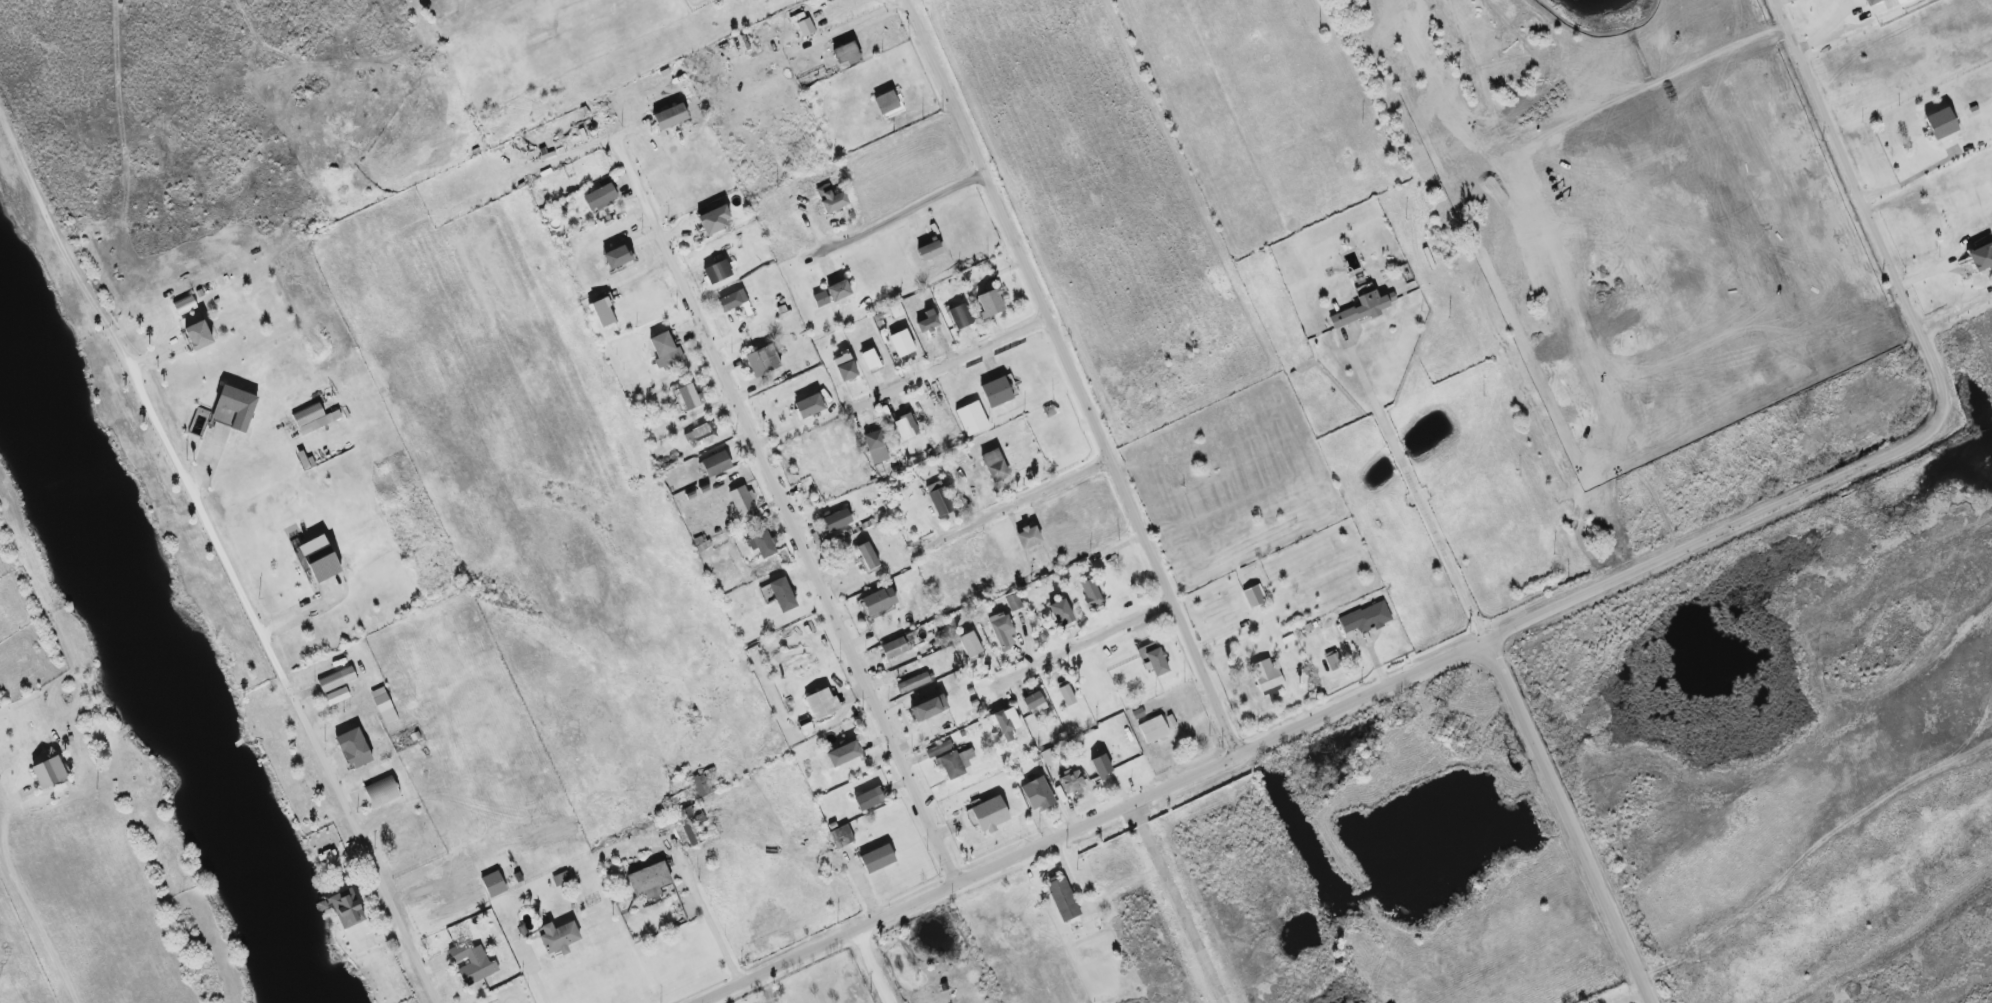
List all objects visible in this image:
road: (1777, 0)
building: (1870, 2)
road: (874, 14)
building: (805, 27)
road: (1826, 29)
building: (846, 53)
road: (1617, 101)
building: (888, 104)
building: (670, 117)
building: (1939, 124)
road: (1841, 153)
road: (1909, 178)
road: (633, 180)
building: (600, 198)
building: (830, 199)
building: (713, 220)
road: (884, 223)
building: (929, 251)
building: (617, 257)
building: (1980, 257)
building: (717, 272)
building: (838, 291)
building: (820, 299)
building: (733, 300)
building: (990, 303)
building: (184, 305)
building: (1363, 308)
building: (602, 313)
building: (959, 317)
building: (927, 322)
building: (195, 332)
building: (902, 344)
building: (665, 351)
building: (870, 359)
building: (762, 360)
road: (949, 363)
building: (844, 366)
road: (1074, 376)
building: (996, 392)
building: (685, 398)
building: (809, 406)
building: (234, 408)
building: (314, 418)
building: (971, 418)
building: (905, 427)
building: (700, 435)
building: (875, 447)
building: (716, 464)
building: (994, 466)
road: (183, 475)
road: (1418, 497)
building: (939, 498)
building: (741, 500)
road: (1020, 504)
building: (836, 520)
building: (1027, 537)
building: (762, 544)
building: (867, 556)
road: (809, 558)
building: (319, 559)
building: (782, 594)
building: (1091, 595)
building: (1254, 596)
building: (878, 601)
building: (1013, 602)
building: (1060, 612)
building: (1366, 618)
building: (1001, 631)
road: (1087, 644)
building: (970, 645)
building: (893, 648)
building: (1152, 659)
building: (1333, 660)
building: (1266, 678)
building: (336, 679)
building: (913, 683)
road: (1378, 690)
building: (1066, 695)
building: (336, 696)
building: (1034, 702)
building: (821, 704)
building: (383, 705)
building: (928, 708)
building: (1005, 723)
building: (1152, 730)
building: (353, 748)
building: (938, 749)
building: (843, 754)
building: (1051, 756)
building: (954, 763)
building: (1101, 766)
building: (49, 773)
building: (1071, 783)
building: (701, 785)
building: (382, 792)
building: (1037, 794)
building: (868, 799)
road: (341, 801)
building: (989, 814)
road: (1568, 822)
building: (690, 823)
building: (841, 837)
building: (877, 858)
building: (560, 879)
building: (649, 880)
building: (493, 884)
road: (25, 897)
building: (1062, 899)
road: (1178, 904)
building: (346, 908)
road: (714, 928)
building: (558, 937)
building: (472, 963)
road: (875, 966)
road: (536, 978)

